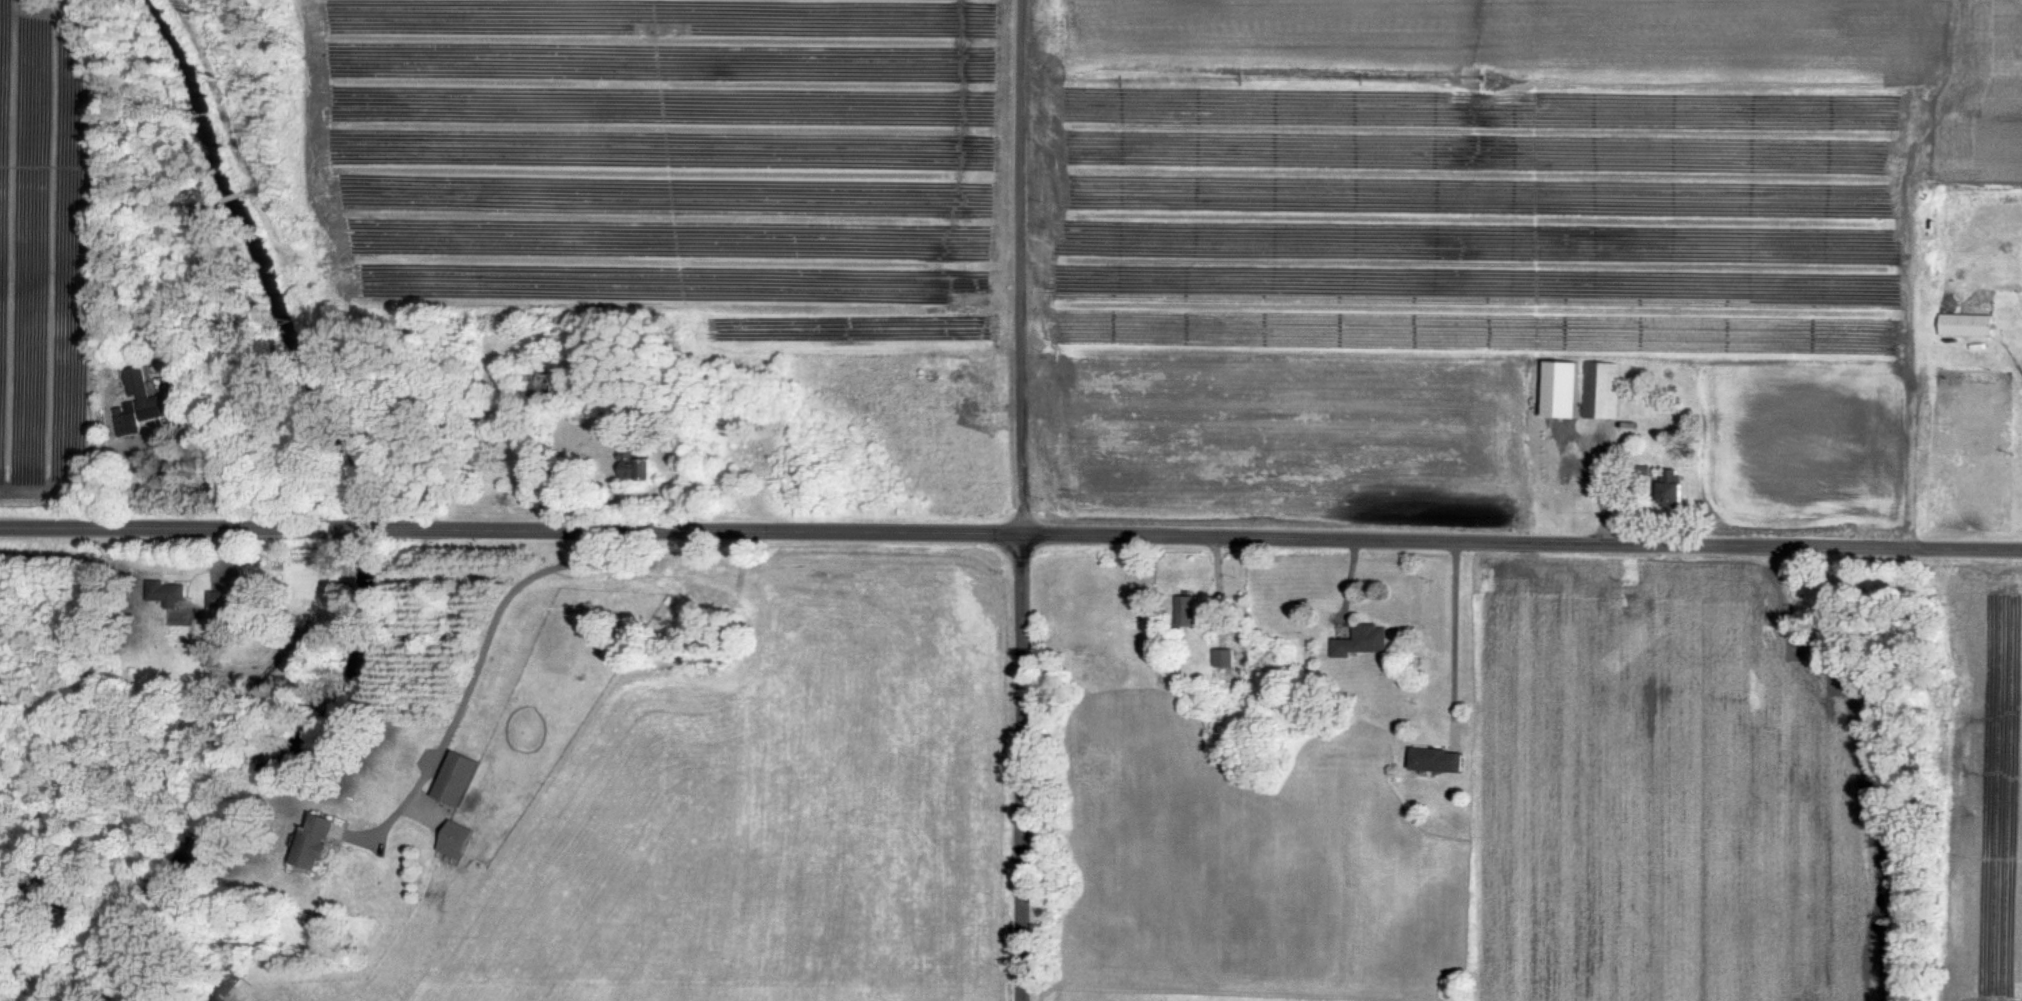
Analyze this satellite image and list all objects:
building: (1964, 324)
building: (1560, 389)
building: (1600, 389)
building: (135, 402)
road: (216, 456)
building: (632, 465)
building: (1671, 487)
road: (1022, 500)
road: (1011, 533)
building: (164, 592)
building: (216, 601)
building: (1181, 609)
road: (1452, 634)
building: (1359, 640)
building: (1219, 657)
road: (467, 679)
building: (1436, 759)
building: (453, 778)
building: (453, 839)
building: (309, 842)

